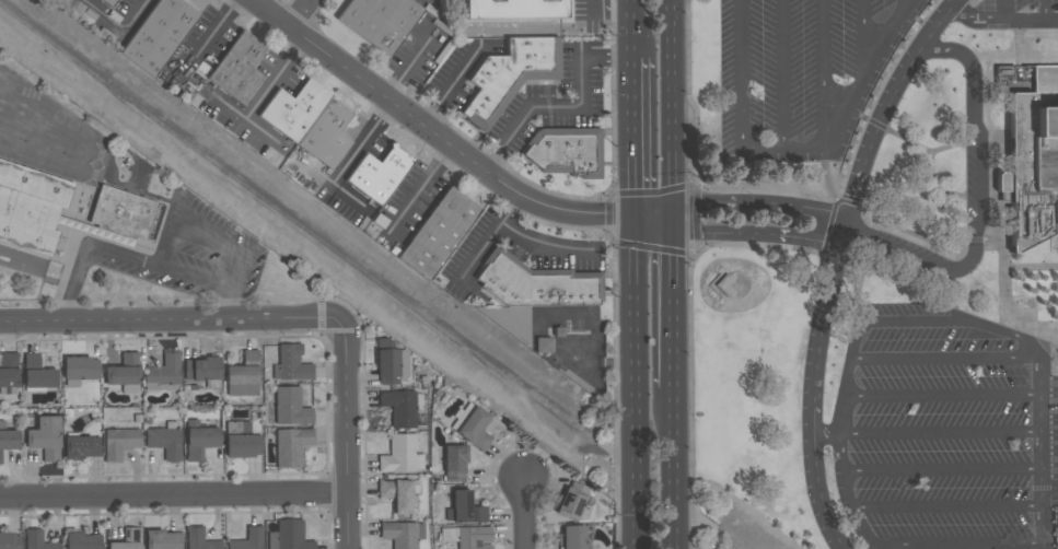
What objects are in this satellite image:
building: (109, 2)
road: (903, 7)
building: (513, 9)
road: (1008, 11)
road: (1045, 11)
road: (136, 13)
road: (301, 15)
parking lot: (1012, 16)
building: (380, 21)
road: (673, 22)
road: (1002, 22)
road: (632, 28)
building: (159, 35)
road: (864, 39)
road: (1011, 58)
building: (239, 69)
road: (741, 73)
road: (825, 73)
parking lot: (804, 74)
road: (782, 75)
building: (510, 77)
road: (260, 98)
road: (561, 107)
road: (672, 109)
road: (850, 110)
building: (309, 121)
road: (635, 139)
road: (910, 142)
road: (446, 147)
road: (356, 149)
road: (991, 149)
building: (566, 151)
building: (1034, 164)
road: (827, 174)
building: (379, 175)
parking lot: (977, 177)
road: (937, 189)
road: (976, 207)
building: (62, 209)
traffic signals: (636, 220)
traffic signals: (674, 220)
road: (758, 221)
building: (438, 234)
road: (491, 237)
road: (544, 249)
road: (934, 250)
road: (836, 262)
road: (851, 265)
road: (140, 266)
road: (1035, 267)
building: (536, 284)
road: (859, 287)
road: (674, 307)
road: (894, 323)
road: (173, 324)
building: (543, 344)
road: (1055, 354)
road: (945, 358)
road: (1056, 359)
building: (291, 364)
building: (403, 365)
building: (387, 367)
building: (80, 369)
building: (201, 370)
building: (37, 373)
building: (124, 373)
building: (163, 373)
building: (8, 374)
building: (244, 376)
road: (636, 384)
road: (941, 396)
building: (290, 407)
building: (399, 408)
building: (473, 427)
parking lot: (944, 432)
road: (940, 434)
road: (347, 436)
building: (45, 439)
building: (8, 440)
building: (165, 441)
building: (241, 441)
building: (119, 443)
building: (291, 446)
building: (81, 447)
road: (1042, 447)
building: (399, 455)
building: (454, 463)
road: (942, 470)
road: (674, 472)
road: (844, 482)
building: (398, 494)
road: (173, 499)
building: (571, 501)
road: (946, 507)
building: (464, 510)
road: (525, 515)
building: (402, 534)
building: (288, 536)
building: (467, 537)
building: (572, 537)
building: (199, 539)
building: (10, 540)
building: (37, 540)
building: (128, 540)
building: (163, 540)
building: (248, 540)
building: (83, 541)
road: (956, 545)

